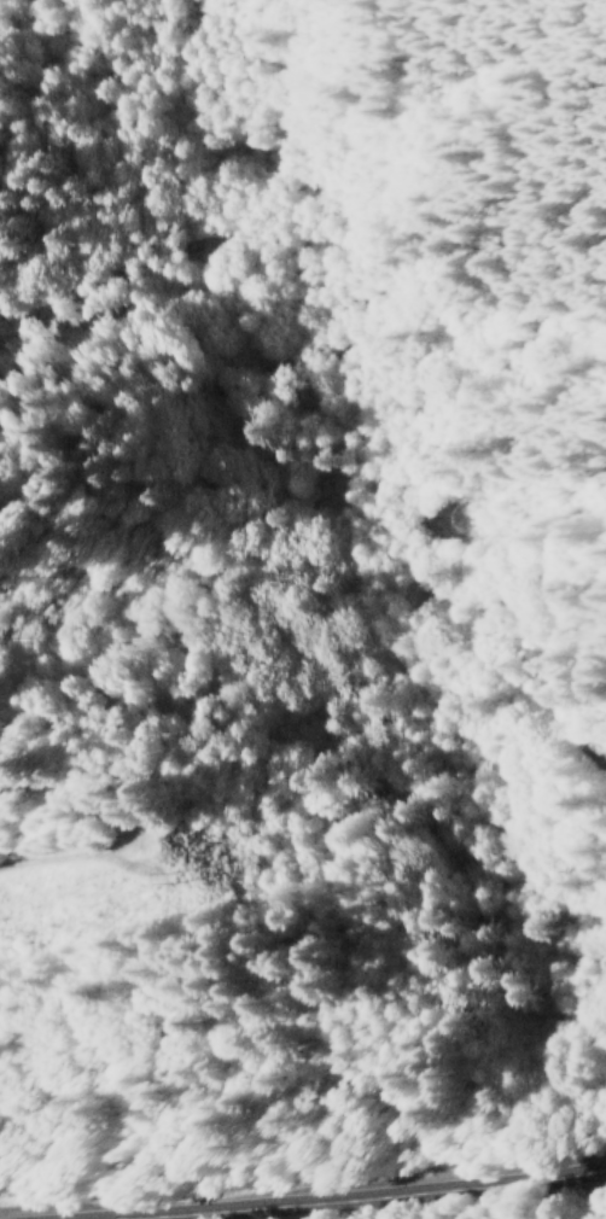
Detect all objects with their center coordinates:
power tower: (174, 881)
road: (366, 1194)

